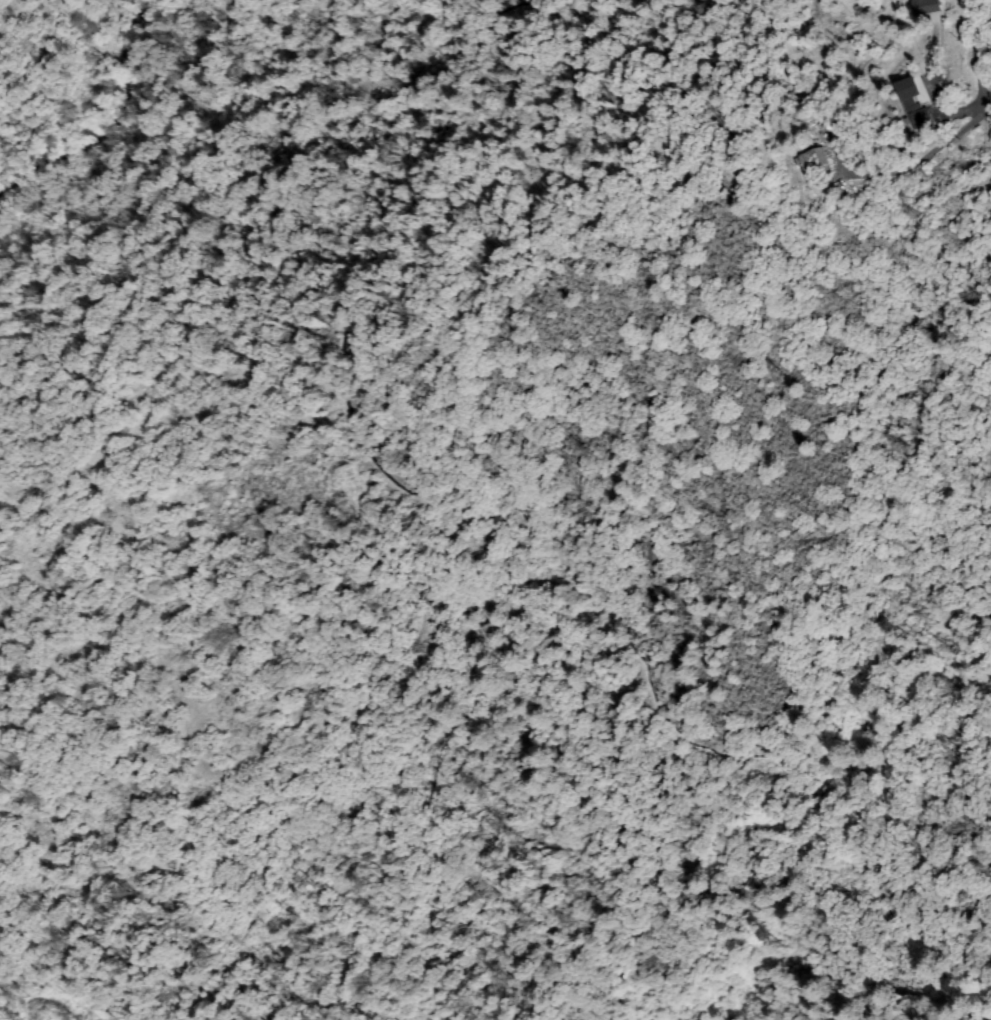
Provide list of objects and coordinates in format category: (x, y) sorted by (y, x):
building: (926, 6)
road: (34, 50)
building: (916, 114)
road: (936, 142)
road: (643, 161)
building: (815, 162)

